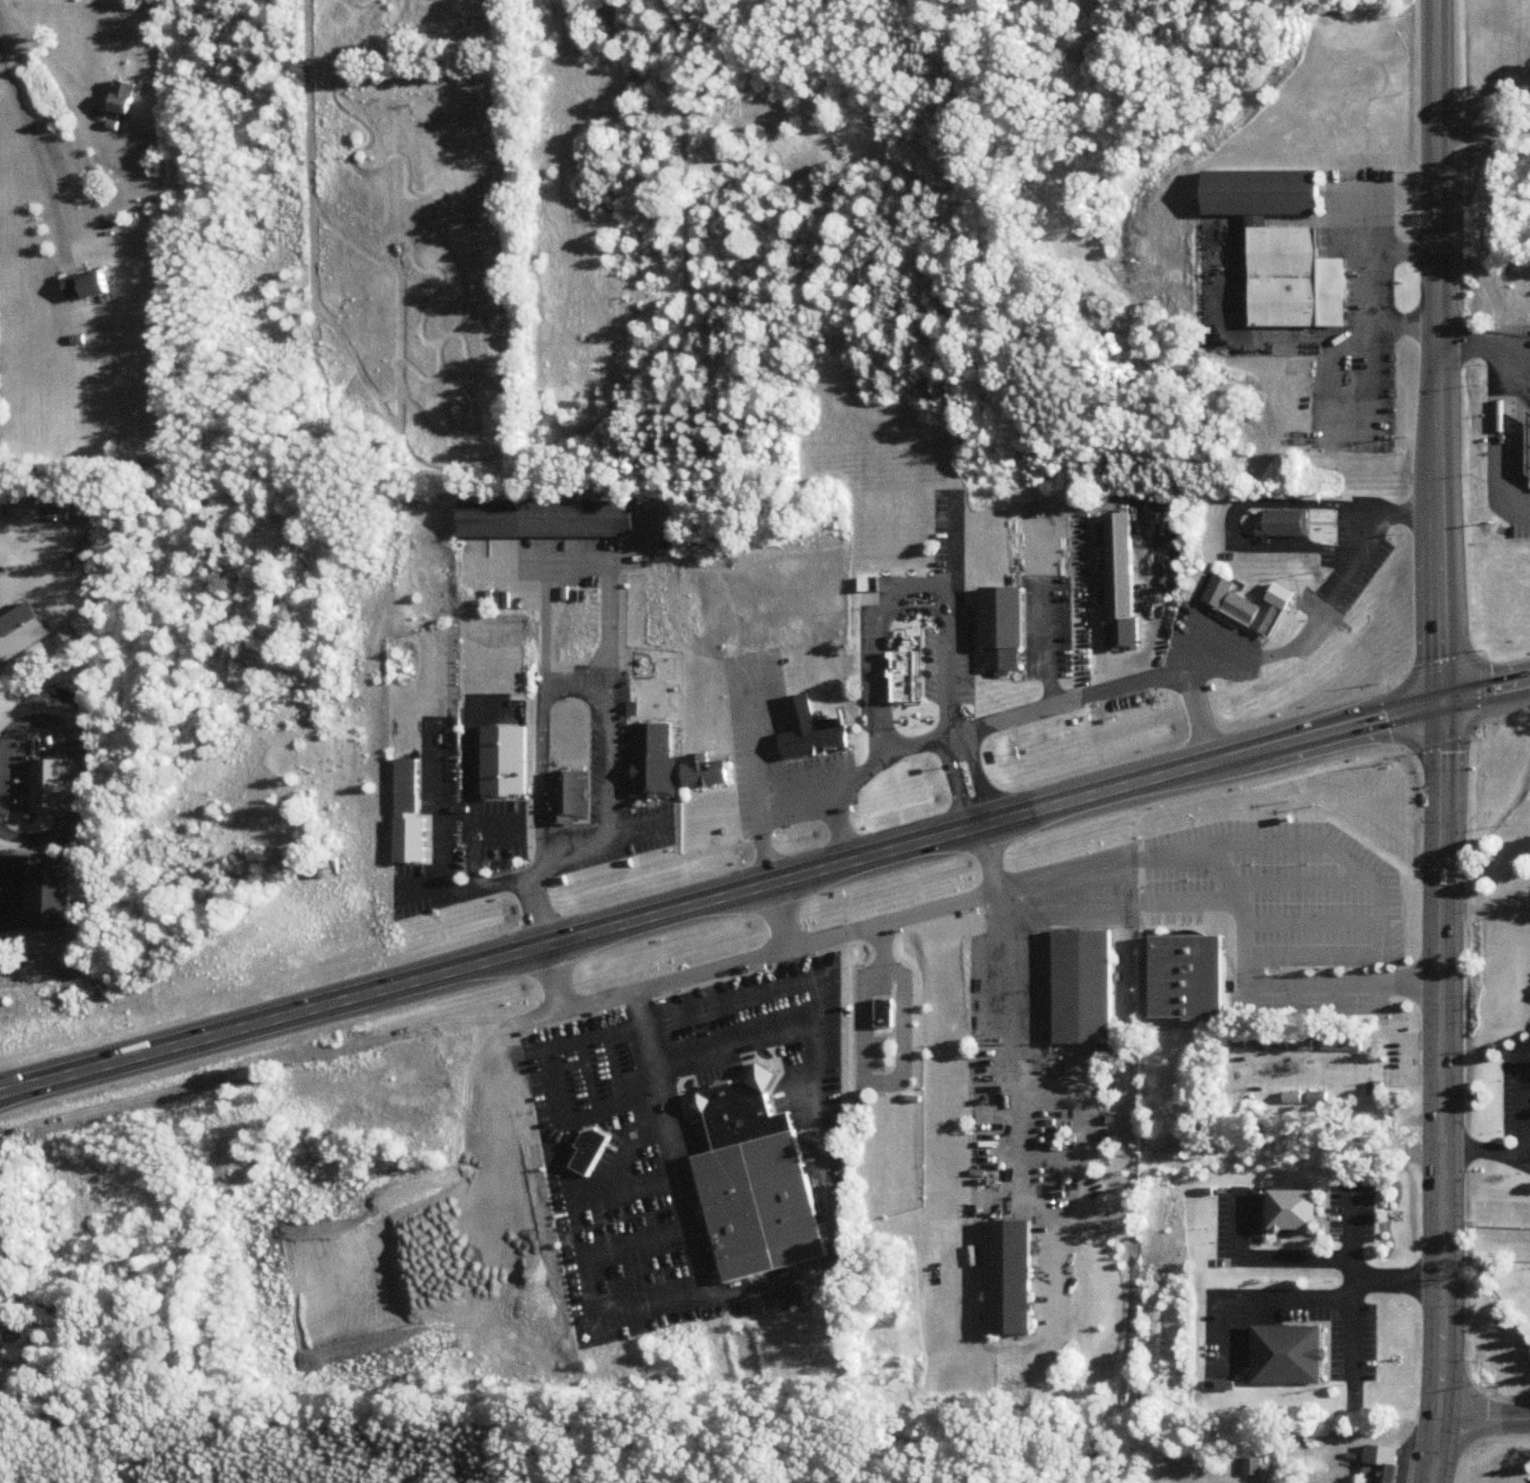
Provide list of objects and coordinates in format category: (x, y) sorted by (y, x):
road: (45, 52)
building: (122, 98)
road: (1484, 130)
road: (38, 150)
building: (1264, 189)
road: (1365, 199)
building: (1294, 276)
road: (1366, 279)
building: (84, 287)
road: (1473, 347)
road: (1440, 350)
road: (1506, 431)
road: (1341, 432)
building: (1529, 446)
road: (1364, 506)
building: (542, 512)
road: (1329, 516)
building: (1283, 519)
road: (1229, 522)
road: (1351, 526)
road: (944, 543)
road: (574, 561)
building: (1119, 563)
road: (31, 566)
road: (506, 568)
building: (1246, 600)
building: (999, 624)
building: (20, 625)
road: (1205, 625)
road: (1276, 625)
road: (1240, 626)
road: (1042, 635)
road: (874, 640)
road: (915, 642)
road: (942, 661)
building: (900, 669)
road: (552, 675)
road: (736, 676)
road: (1079, 688)
road: (1193, 715)
building: (805, 726)
road: (37, 727)
road: (811, 753)
building: (502, 755)
building: (647, 755)
road: (735, 761)
road: (726, 762)
road: (30, 764)
building: (702, 766)
road: (823, 767)
road: (463, 772)
road: (969, 775)
building: (403, 778)
building: (57, 780)
road: (948, 781)
road: (505, 792)
building: (563, 792)
road: (644, 806)
road: (425, 814)
road: (571, 821)
road: (838, 822)
road: (624, 823)
building: (406, 828)
road: (35, 829)
road: (1288, 837)
road: (559, 847)
road: (1223, 872)
road: (1118, 875)
road: (527, 876)
road: (1299, 878)
road: (469, 881)
road: (764, 886)
road: (776, 913)
road: (1225, 914)
parking lot: (1281, 914)
road: (1239, 915)
road: (1307, 917)
road: (531, 918)
road: (1191, 922)
road: (773, 945)
building: (1188, 974)
building: (1079, 983)
road: (760, 993)
road: (1045, 994)
road: (716, 1004)
road: (868, 1005)
building: (881, 1010)
road: (677, 1015)
road: (773, 1034)
road: (1007, 1034)
road: (776, 1036)
road: (754, 1045)
building: (1342, 1046)
road: (761, 1053)
road: (858, 1070)
road: (543, 1073)
building: (1375, 1090)
road: (674, 1091)
road: (1442, 1091)
building: (1292, 1098)
building: (1318, 1098)
road: (808, 1101)
road: (1521, 1109)
road: (665, 1140)
building: (587, 1145)
road: (1487, 1145)
building: (756, 1178)
road: (623, 1186)
road: (1260, 1204)
building: (1292, 1206)
road: (1320, 1210)
road: (1322, 1215)
road: (1255, 1217)
building: (4, 1235)
road: (1261, 1249)
building: (1008, 1273)
road: (1395, 1275)
road: (1350, 1276)
road: (770, 1279)
road: (593, 1281)
road: (1262, 1292)
building: (0, 1308)
road: (1322, 1332)
road: (1246, 1340)
building: (1284, 1350)
road: (1323, 1374)
road: (1481, 1421)
building: (1380, 1465)
building: (1253, 1466)
building: (695, 1480)

